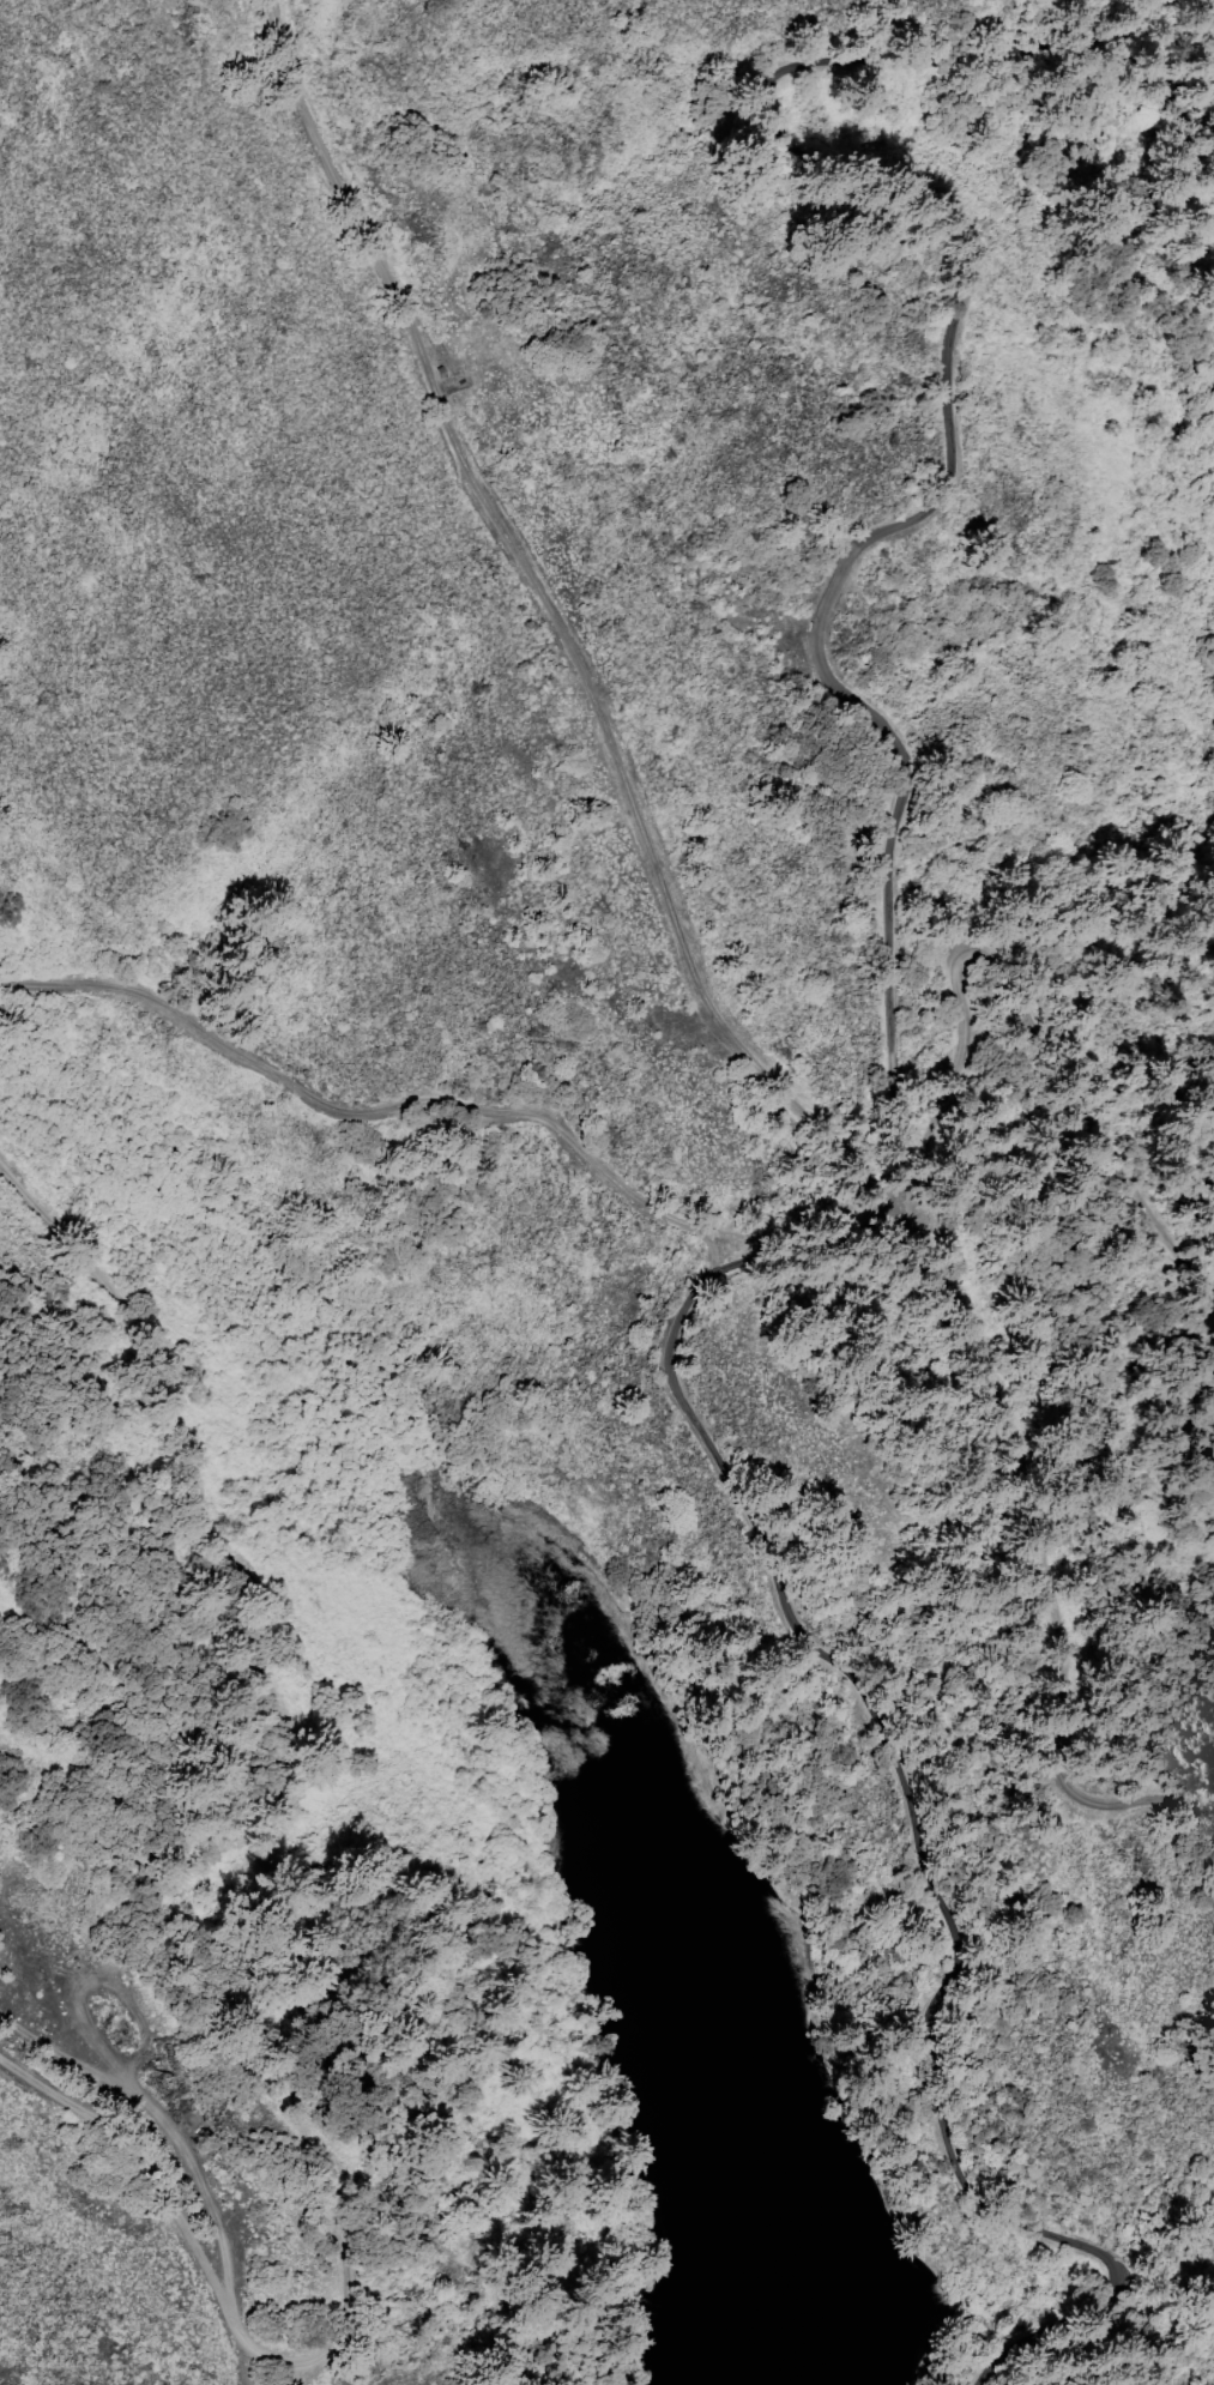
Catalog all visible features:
road: (944, 477)
road: (557, 616)
road: (1031, 982)
road: (446, 1111)
road: (55, 1222)
road: (1039, 1554)
road: (923, 1831)
road: (333, 1991)

